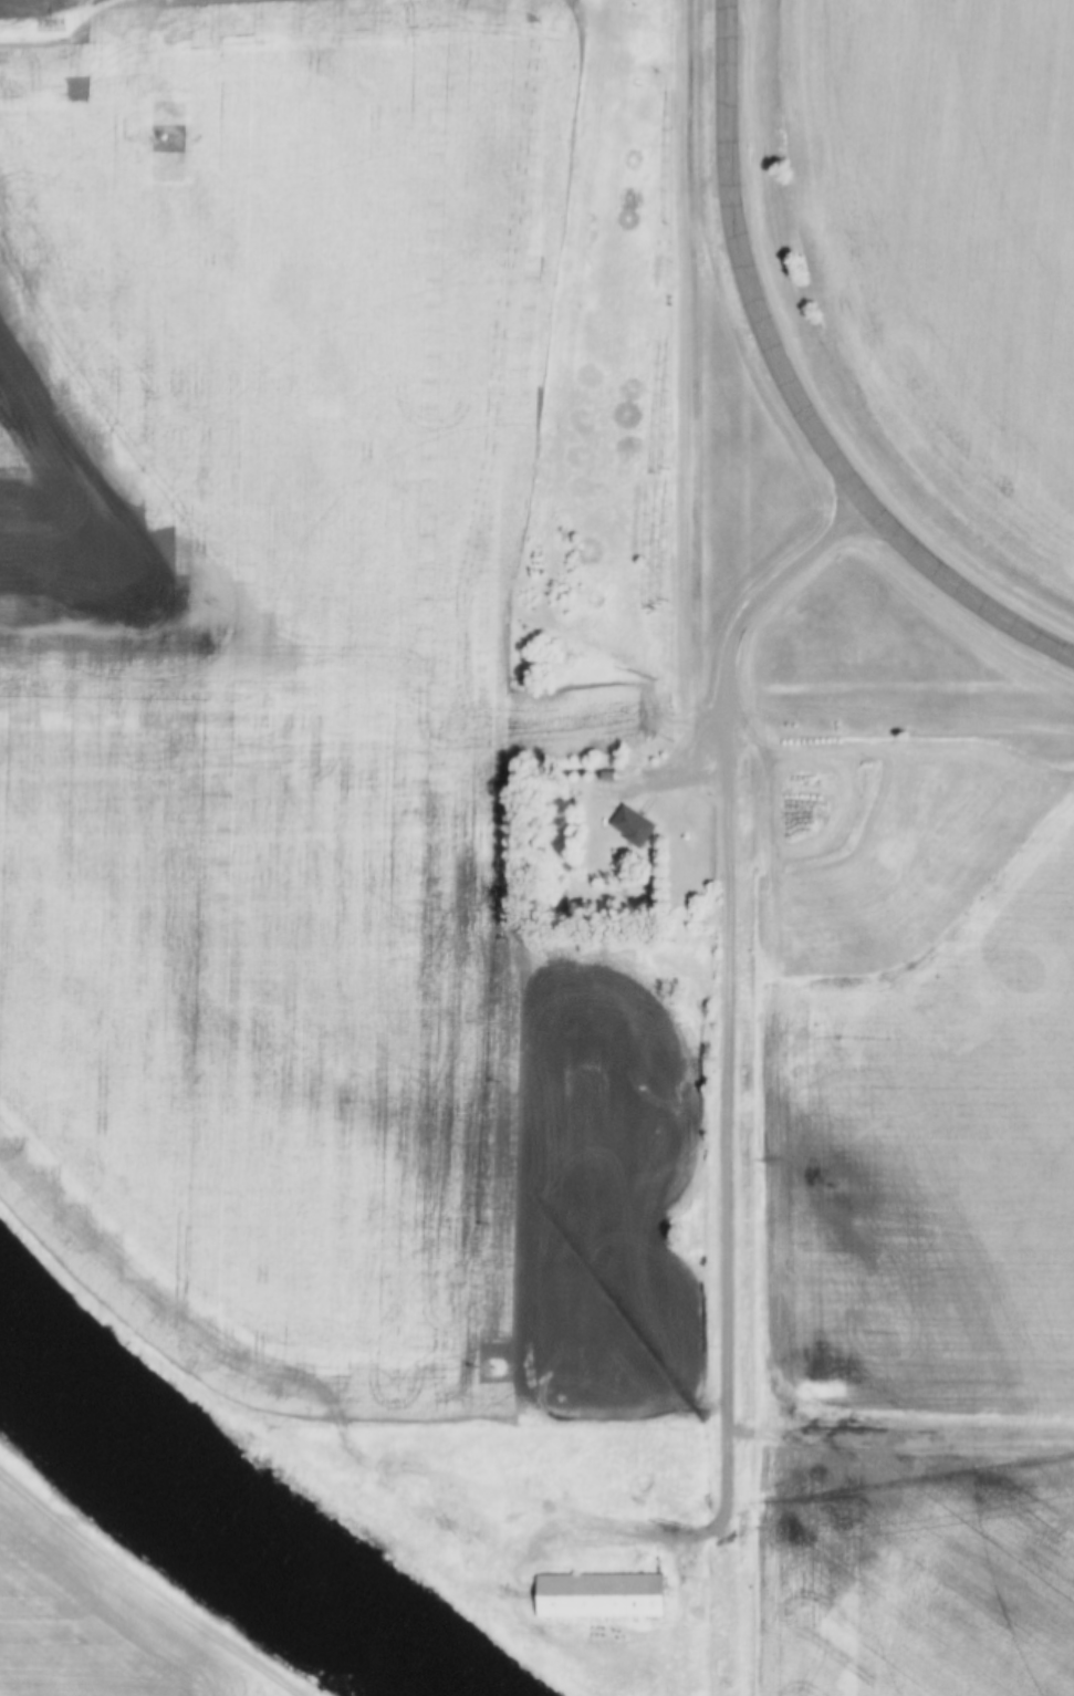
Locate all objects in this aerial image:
road: (795, 385)
road: (736, 654)
building: (614, 772)
building: (635, 822)
road: (636, 912)
road: (729, 1182)
river: (223, 1509)
road: (150, 1588)
building: (598, 1592)

